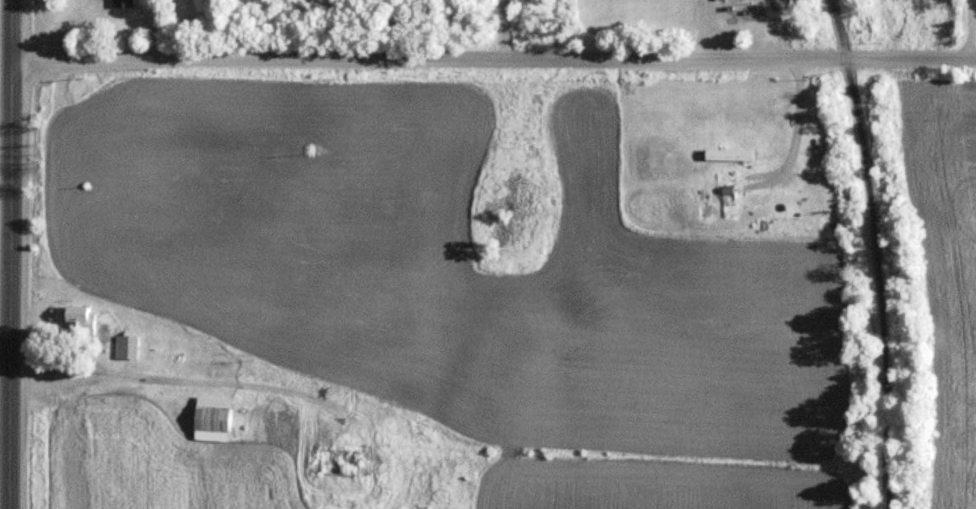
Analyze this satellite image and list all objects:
building: (121, 3)
road: (703, 30)
road: (768, 30)
road: (968, 31)
road: (501, 32)
road: (493, 64)
building: (726, 154)
road: (888, 252)
road: (9, 254)
building: (76, 321)
building: (123, 347)
road: (194, 380)
building: (208, 416)

